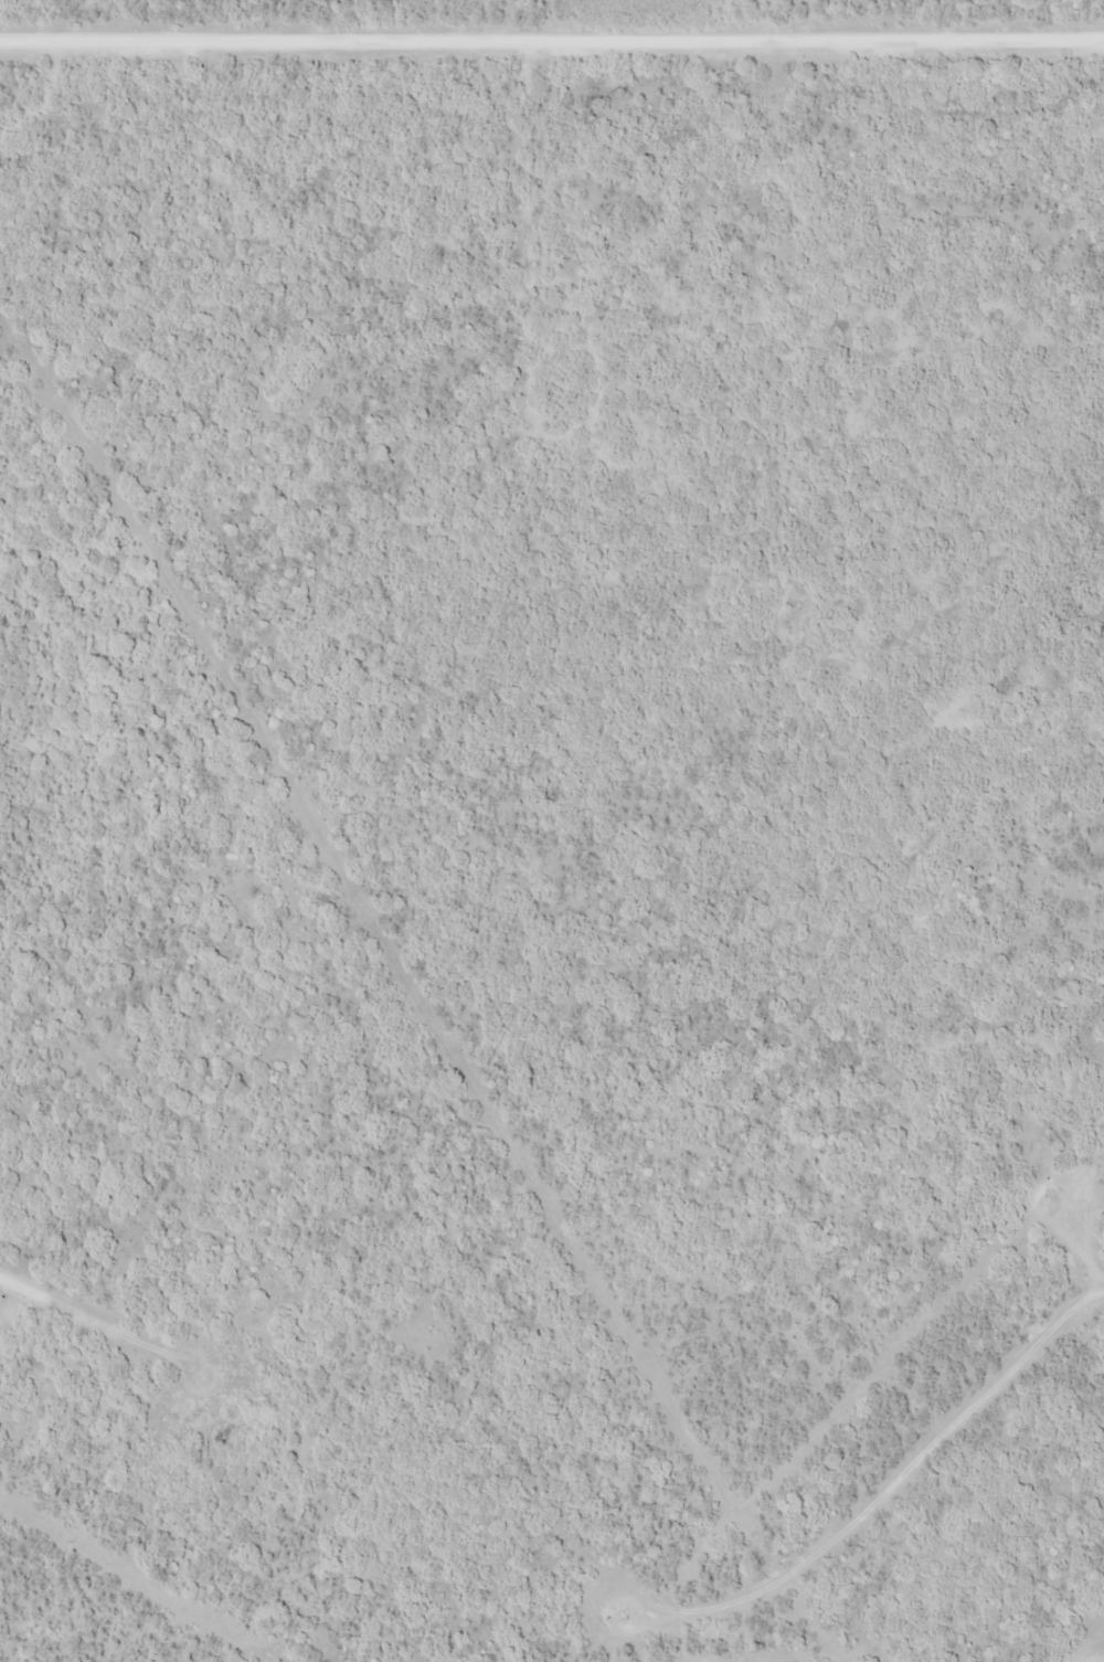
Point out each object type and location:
road: (552, 44)
road: (901, 1500)

